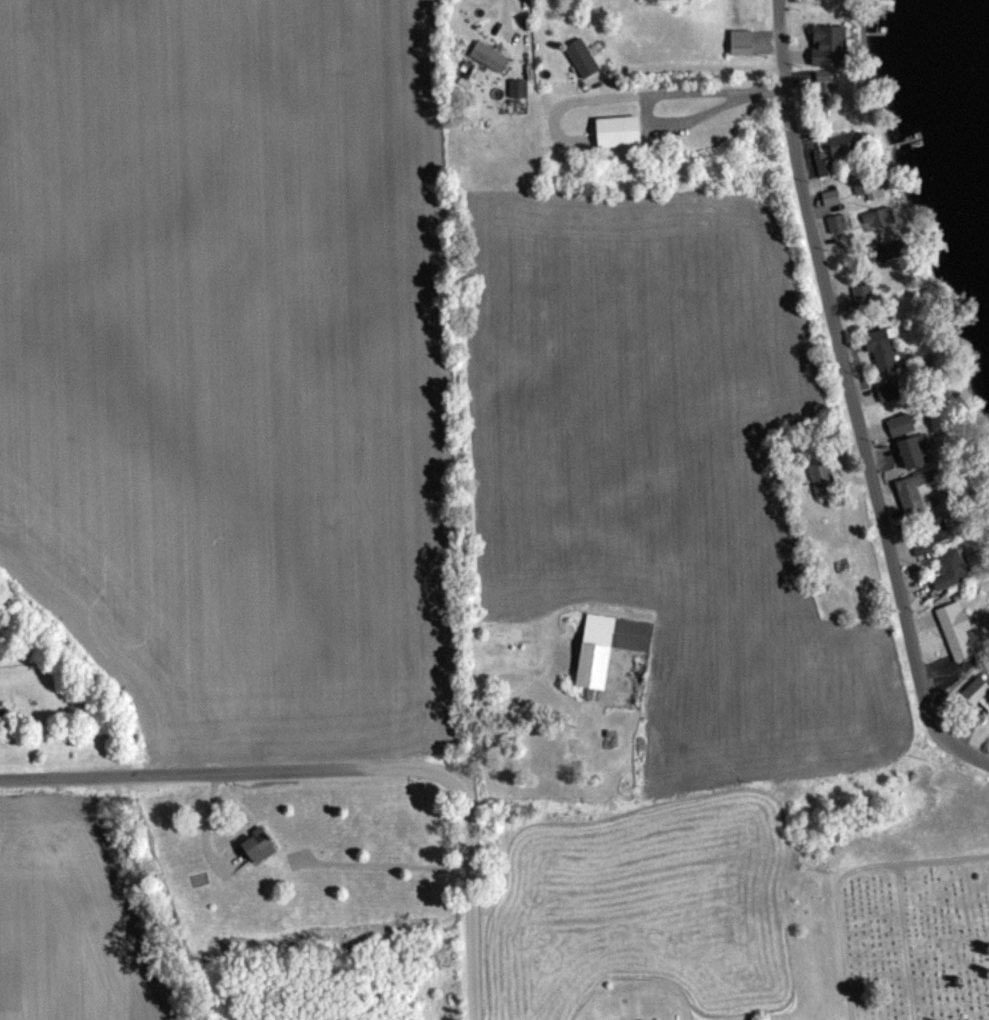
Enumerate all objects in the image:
road: (509, 10)
building: (829, 45)
building: (741, 46)
building: (489, 55)
building: (582, 57)
road: (690, 65)
building: (517, 88)
road: (654, 94)
building: (618, 130)
building: (835, 151)
building: (864, 184)
building: (830, 195)
building: (874, 218)
building: (837, 222)
building: (887, 251)
building: (863, 294)
building: (881, 349)
building: (888, 390)
road: (851, 399)
building: (899, 424)
building: (912, 452)
building: (822, 478)
building: (914, 492)
building: (939, 529)
building: (922, 547)
building: (953, 567)
building: (956, 629)
building: (510, 635)
building: (609, 646)
road: (479, 680)
building: (979, 692)
building: (569, 754)
road: (221, 769)
road: (206, 824)
building: (260, 846)
road: (379, 864)
road: (468, 890)
park: (916, 935)

